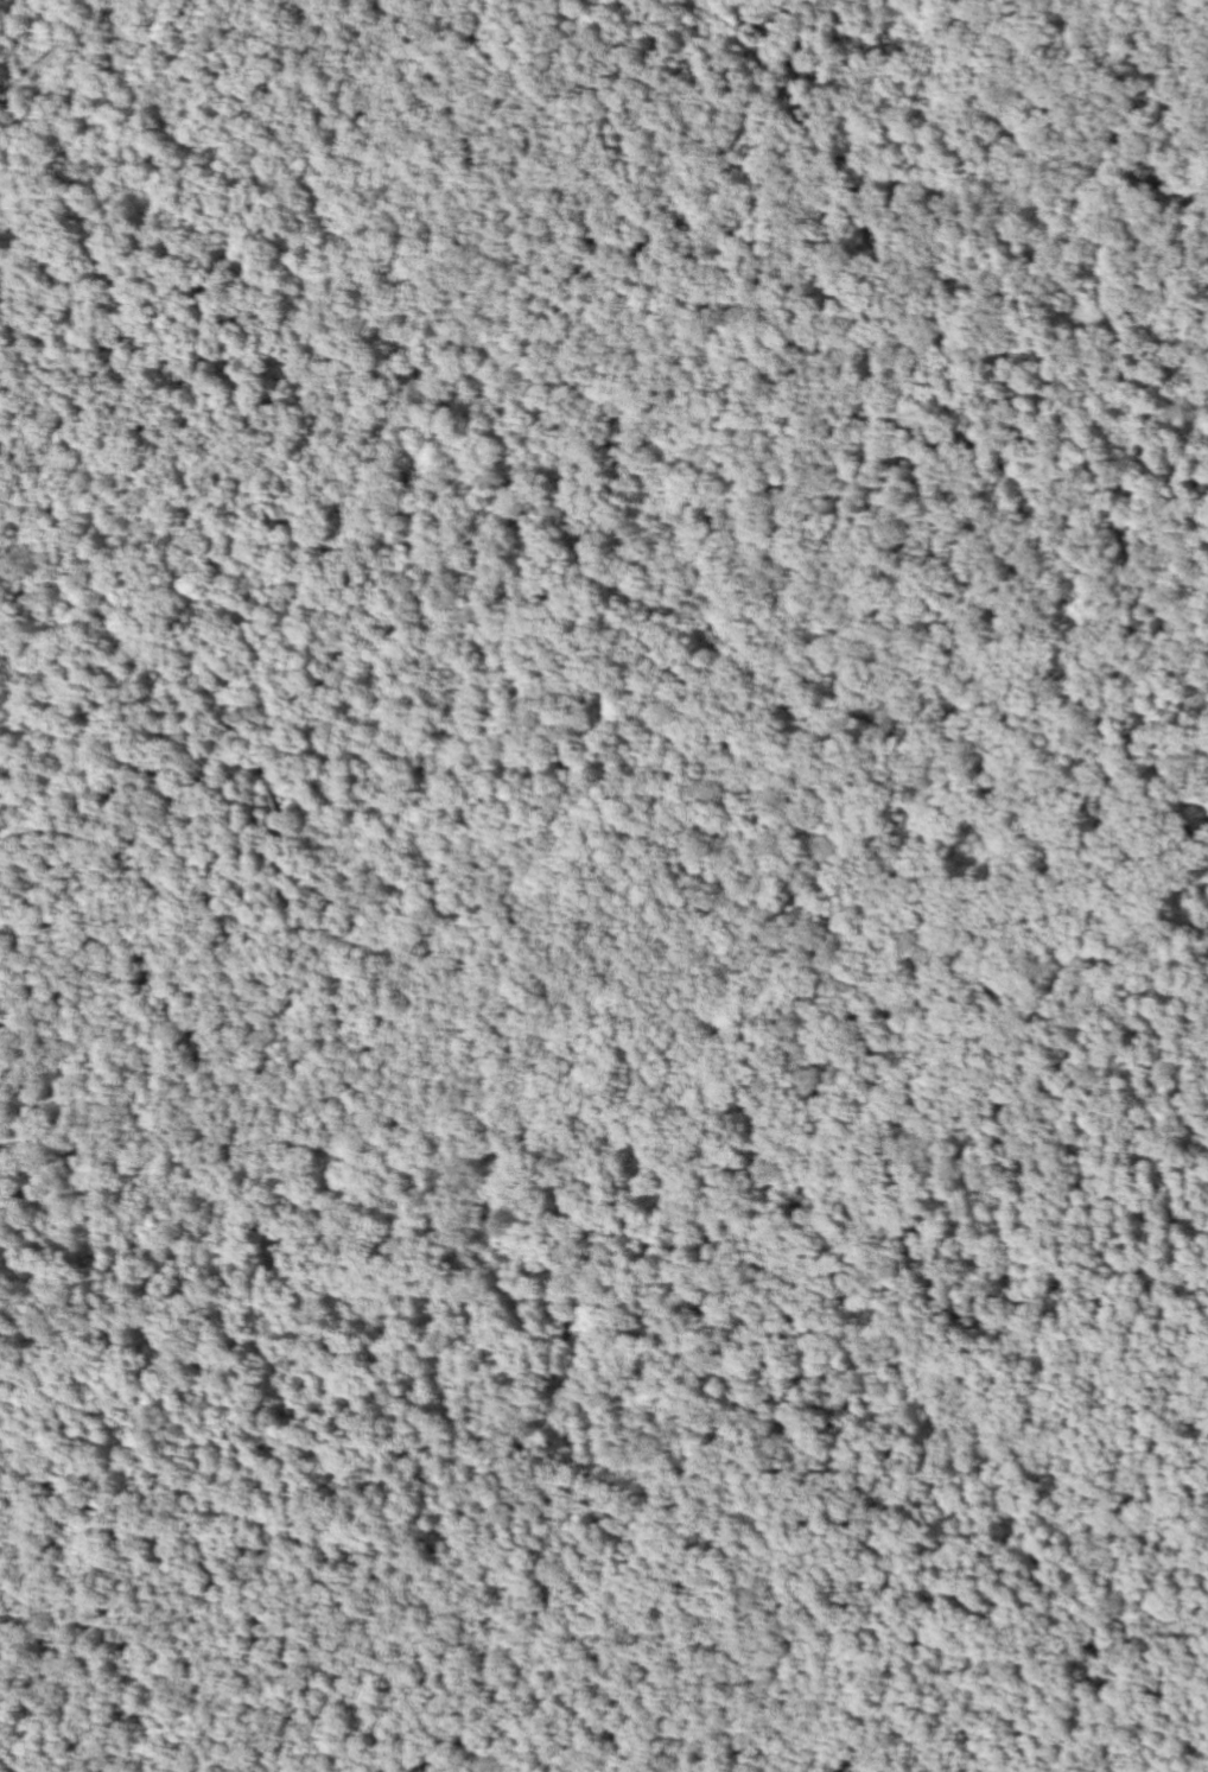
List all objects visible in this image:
road: (58, 50)

